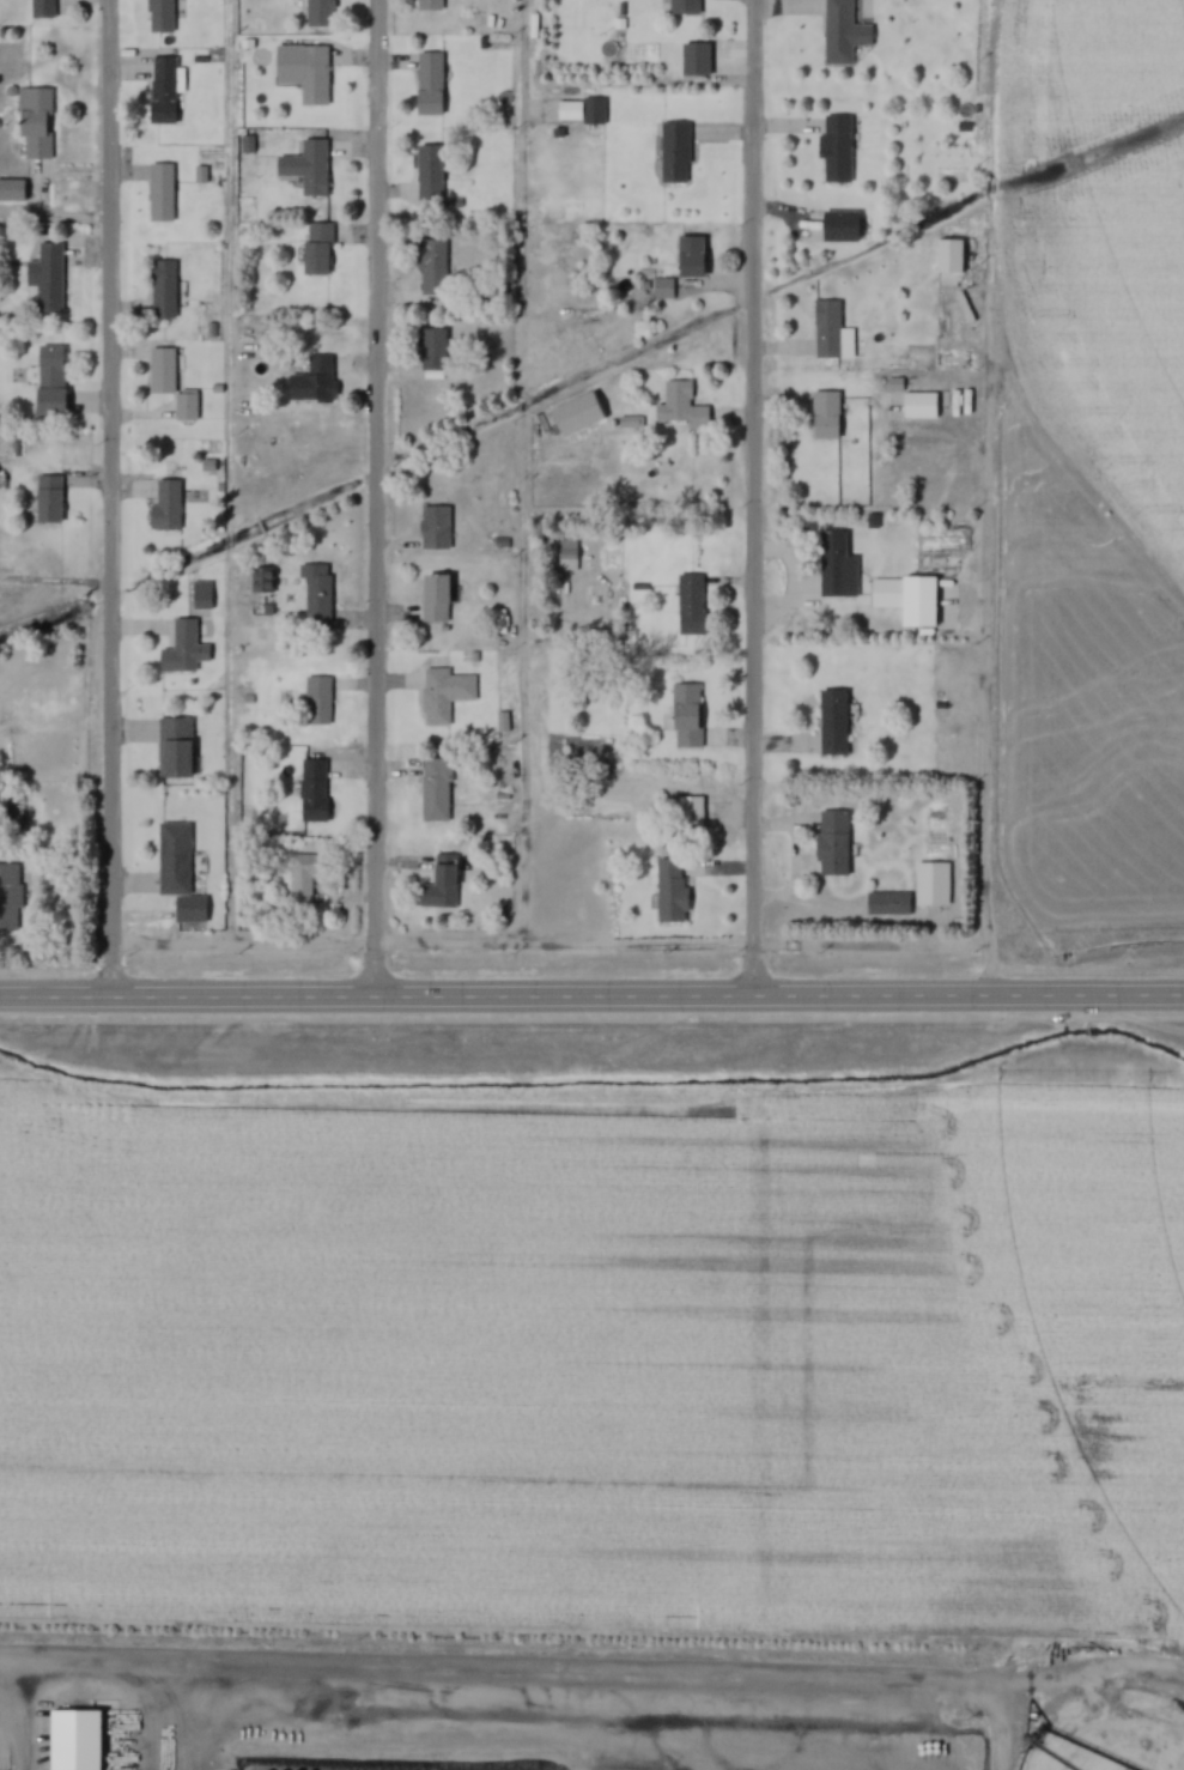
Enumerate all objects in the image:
building: (430, 5)
building: (685, 6)
building: (43, 8)
building: (320, 14)
building: (160, 16)
building: (842, 32)
building: (696, 59)
building: (305, 71)
building: (430, 84)
building: (164, 91)
building: (593, 110)
building: (35, 122)
building: (837, 148)
building: (674, 152)
building: (308, 168)
building: (429, 174)
building: (12, 189)
building: (162, 192)
building: (840, 225)
building: (318, 249)
building: (949, 255)
building: (691, 257)
building: (432, 269)
building: (48, 275)
building: (164, 289)
building: (663, 289)
building: (831, 332)
building: (433, 350)
building: (163, 370)
building: (50, 380)
building: (312, 380)
building: (186, 405)
building: (681, 406)
building: (919, 406)
building: (826, 416)
road: (524, 469)
park: (296, 480)
road: (113, 498)
road: (376, 498)
road: (754, 498)
building: (48, 499)
building: (166, 505)
building: (436, 528)
building: (567, 554)
building: (837, 566)
building: (262, 580)
building: (888, 593)
building: (317, 595)
building: (436, 598)
building: (691, 604)
building: (183, 650)
building: (436, 697)
building: (318, 701)
road: (982, 704)
building: (687, 716)
building: (833, 722)
road: (227, 734)
building: (175, 748)
building: (314, 790)
building: (436, 790)
building: (690, 813)
building: (833, 843)
building: (178, 872)
building: (304, 878)
building: (442, 884)
building: (933, 884)
building: (672, 891)
building: (10, 897)
building: (887, 903)
road: (591, 998)
building: (1110, 1733)
building: (4, 1766)
building: (71, 1769)

